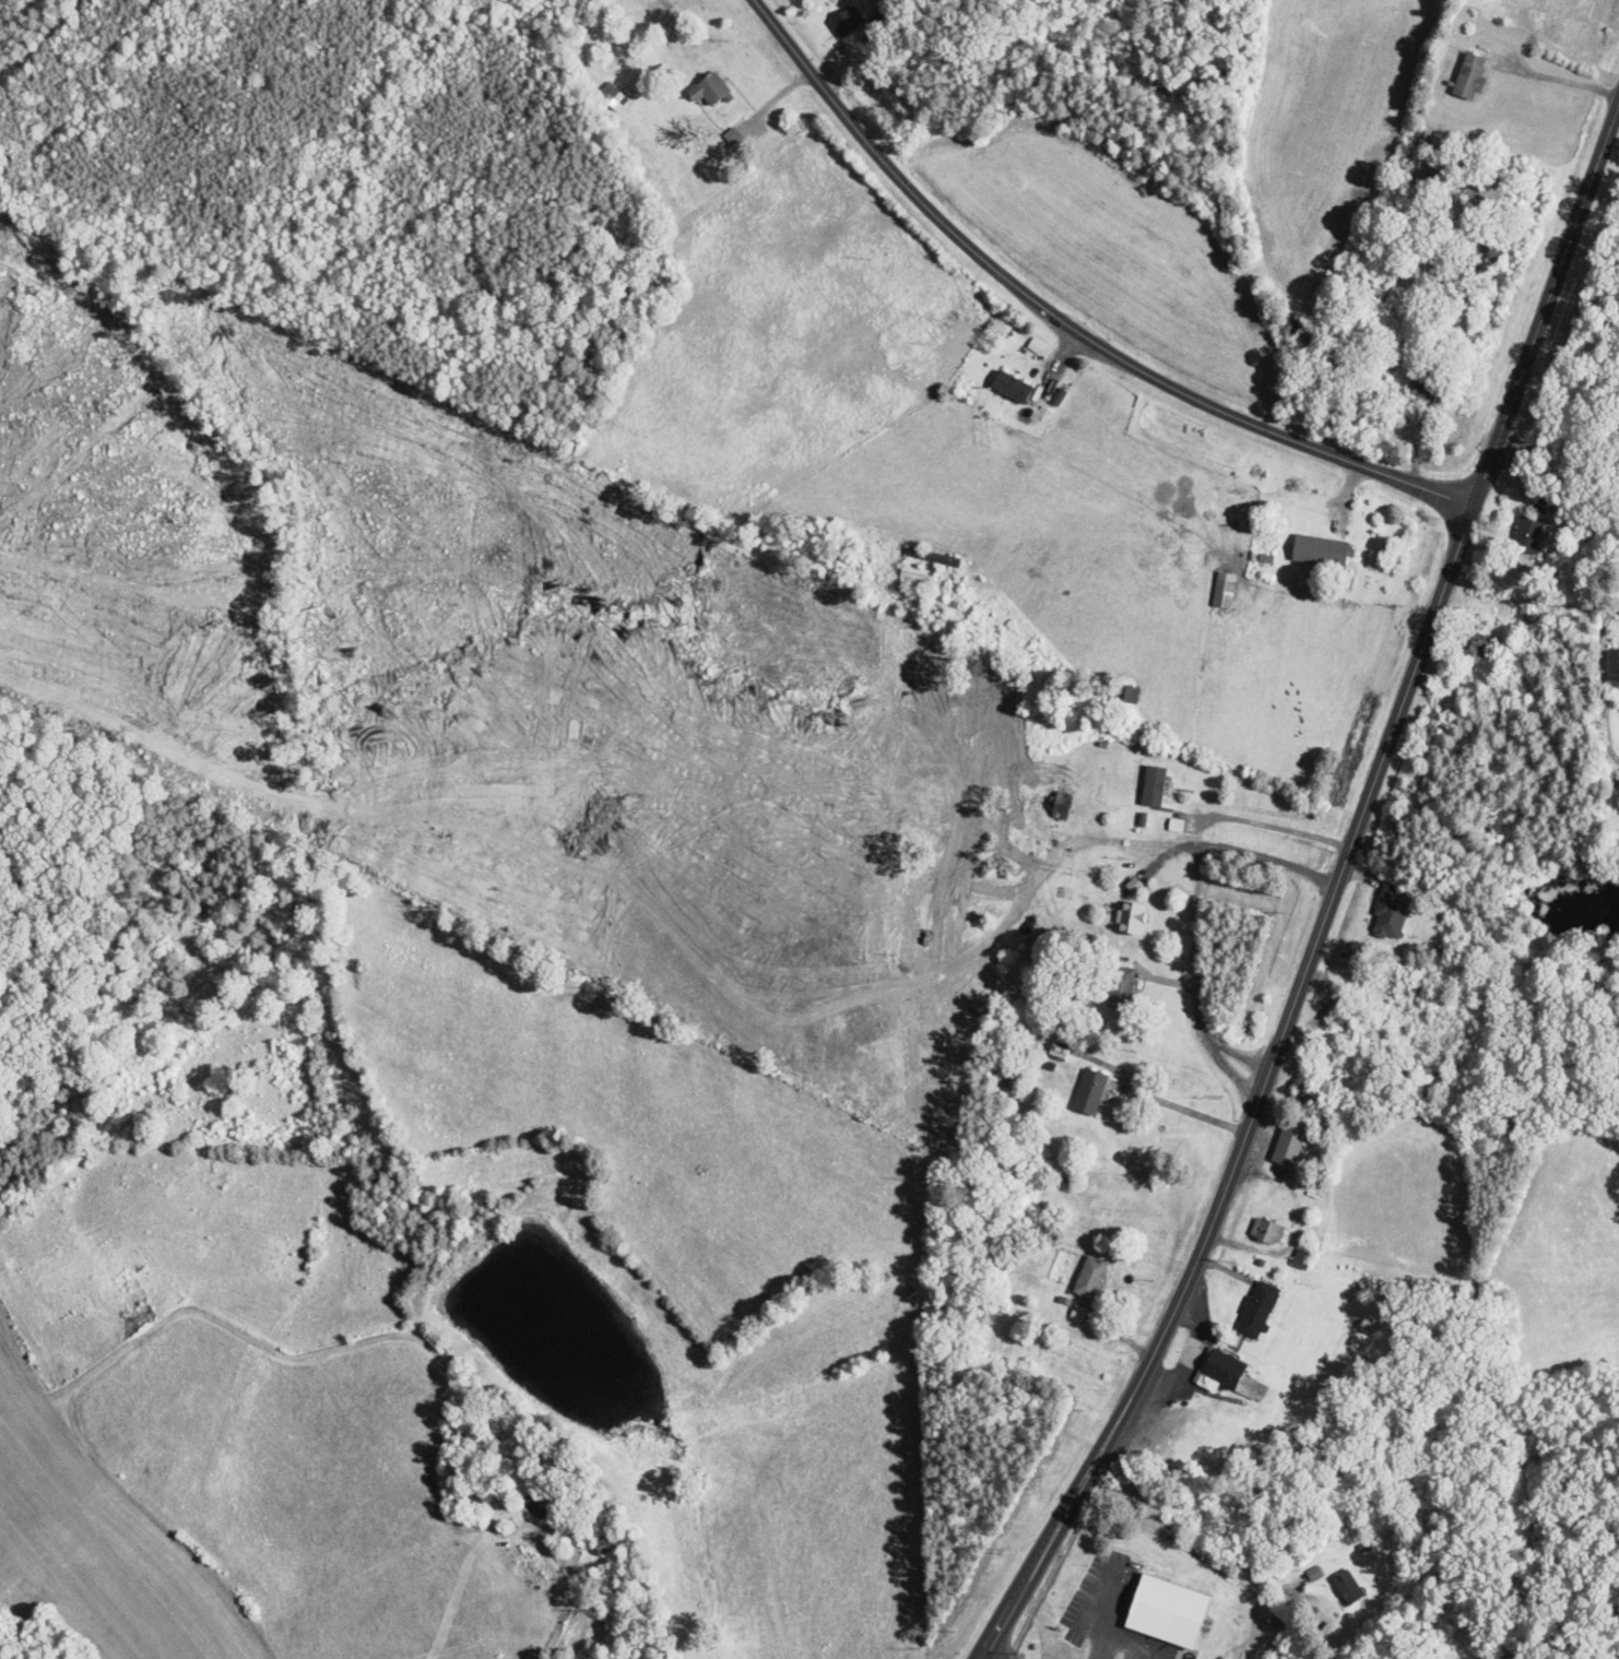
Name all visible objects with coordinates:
building: (662, 12)
building: (847, 23)
building: (1486, 38)
building: (1472, 78)
building: (710, 91)
building: (613, 97)
building: (1382, 287)
road: (1060, 320)
building: (1298, 330)
building: (1014, 388)
building: (1430, 388)
building: (1529, 535)
building: (1322, 553)
building: (934, 558)
building: (918, 574)
building: (1225, 591)
building: (1477, 645)
building: (1127, 695)
building: (1155, 786)
building: (1060, 808)
road: (1332, 893)
building: (1391, 914)
building: (1132, 917)
building: (1122, 987)
building: (1091, 1093)
building: (1304, 1094)
building: (1291, 1142)
building: (1268, 1232)
building: (1302, 1260)
building: (1091, 1279)
building: (128, 1294)
building: (1258, 1311)
building: (1369, 1328)
building: (1231, 1377)
building: (477, 1496)
building: (539, 1506)
building: (604, 1547)
building: (1112, 1587)
building: (1349, 1588)

